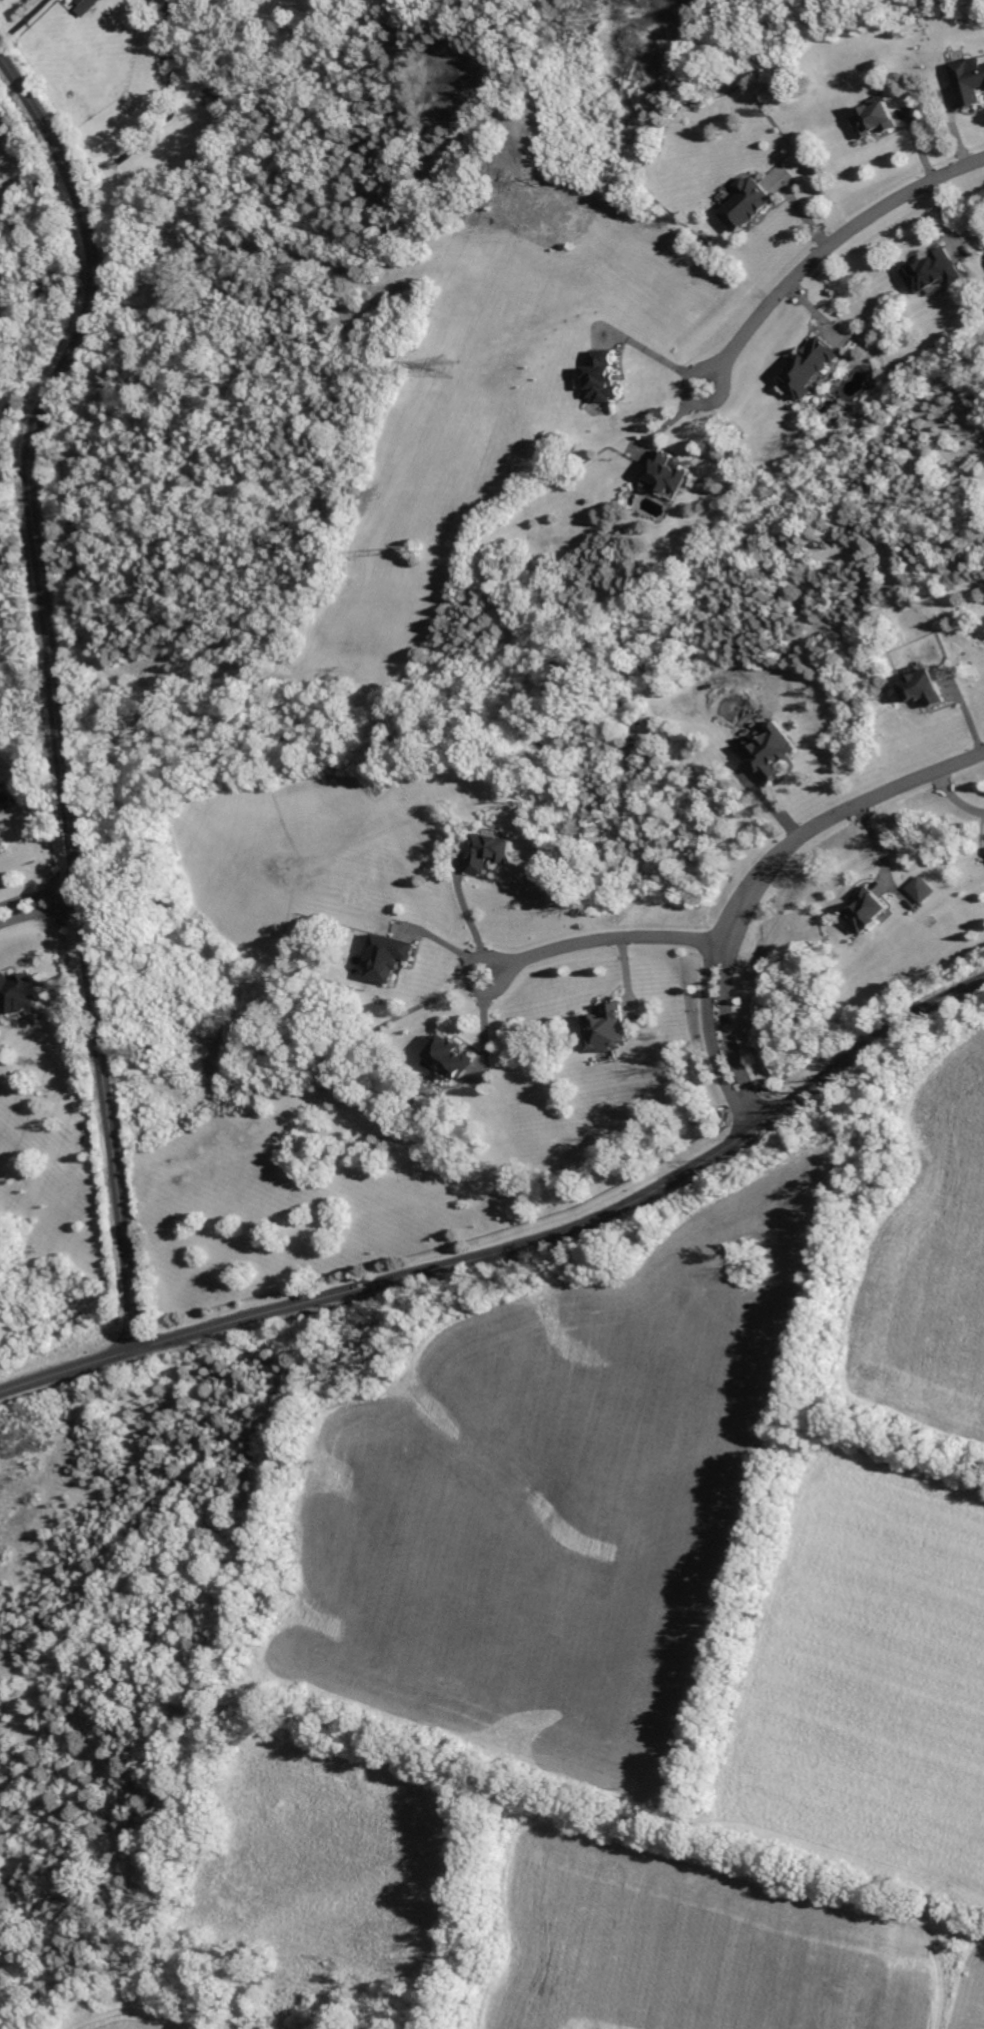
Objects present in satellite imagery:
building: (84, 6)
road: (20, 17)
building: (969, 79)
building: (874, 119)
building: (744, 202)
road: (840, 234)
building: (932, 271)
power tower: (444, 367)
building: (809, 367)
building: (598, 377)
road: (693, 398)
building: (664, 476)
road: (52, 685)
building: (923, 688)
building: (769, 751)
road: (952, 799)
road: (853, 806)
building: (1, 846)
building: (489, 852)
building: (918, 889)
road: (38, 893)
building: (864, 910)
road: (39, 913)
road: (464, 921)
road: (608, 936)
building: (385, 957)
building: (16, 993)
road: (728, 1012)
road: (708, 1014)
road: (479, 1022)
building: (605, 1029)
power tower: (144, 1051)
building: (449, 1056)
road: (586, 1221)
road: (69, 1369)

